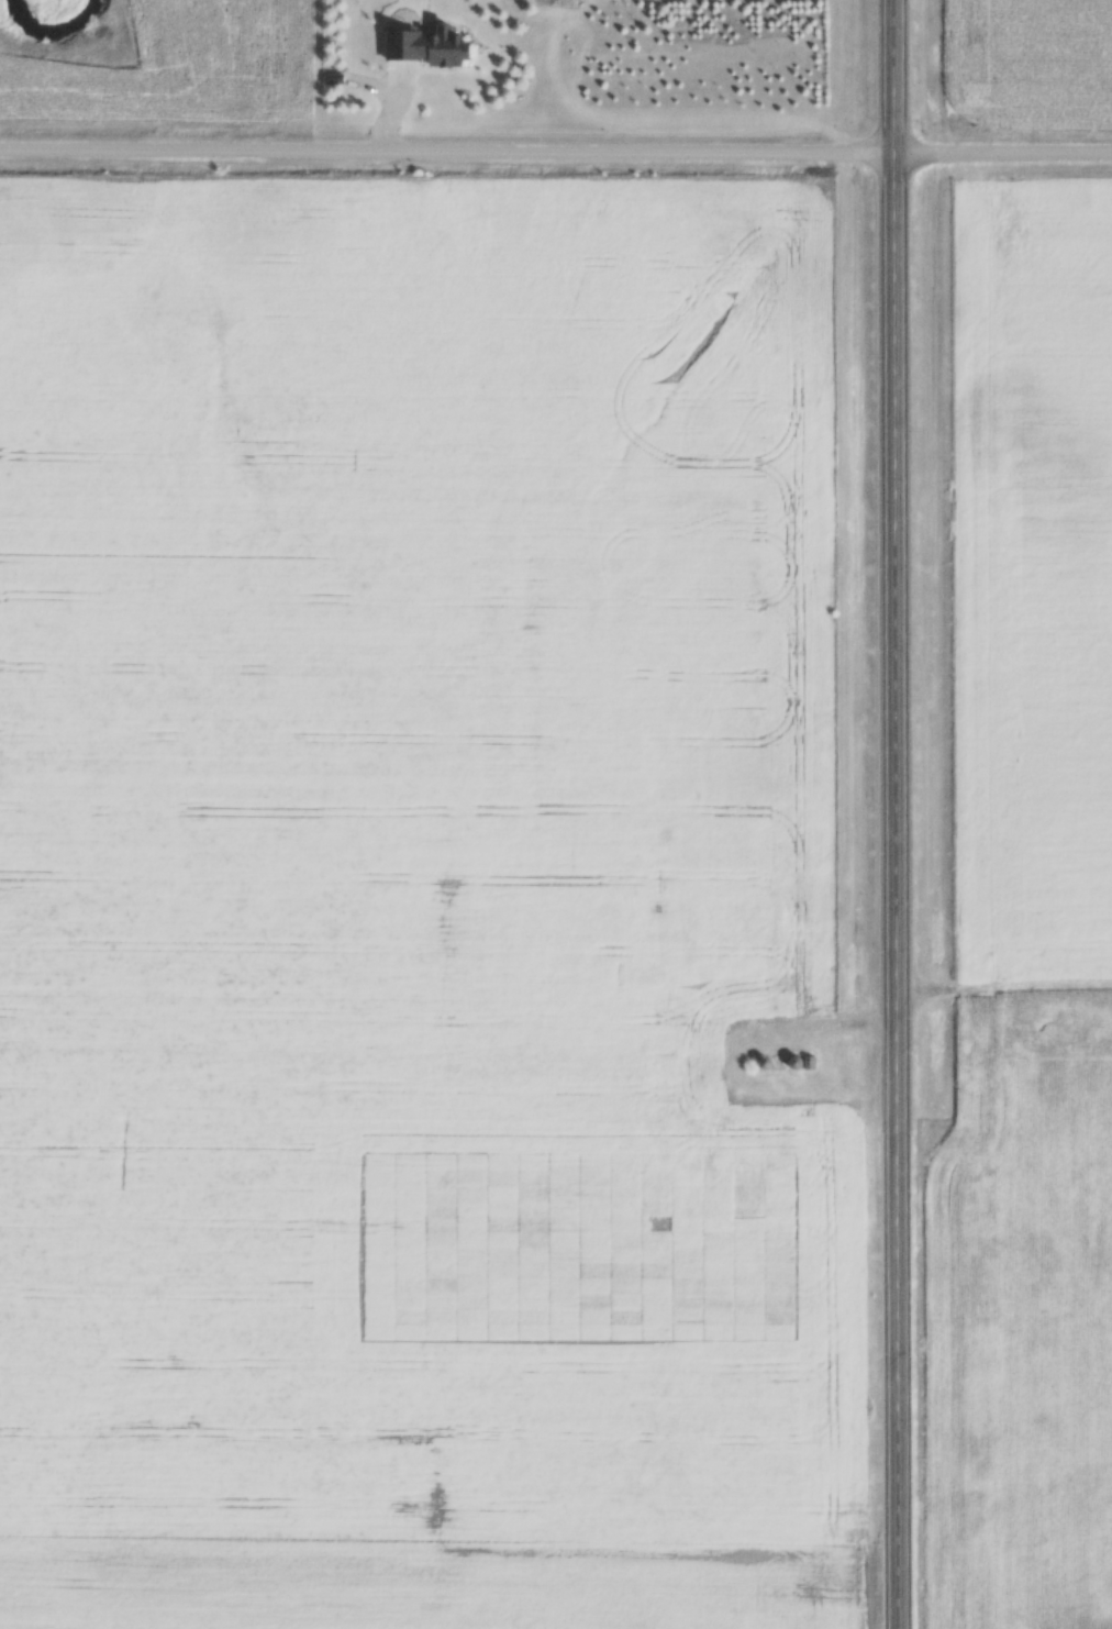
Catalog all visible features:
road: (555, 153)
road: (904, 813)
building: (768, 1064)
building: (802, 1064)

